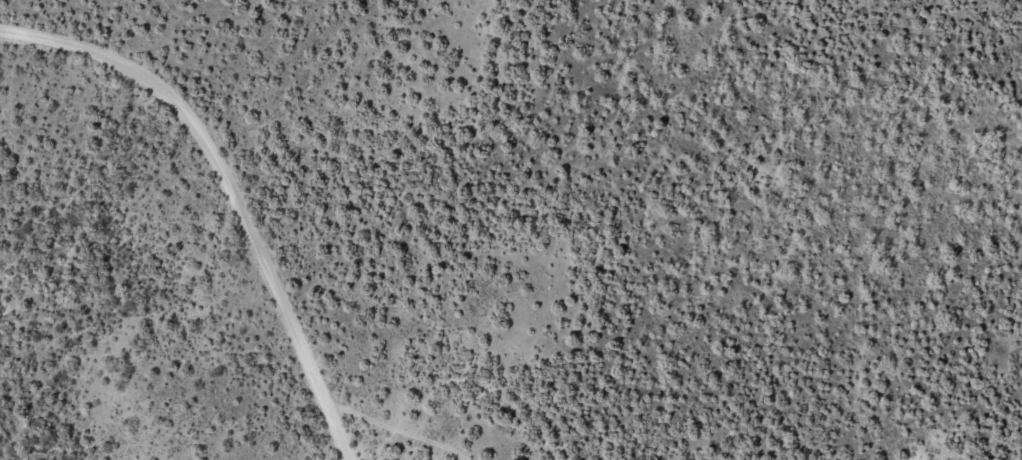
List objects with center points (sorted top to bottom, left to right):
road: (213, 216)

